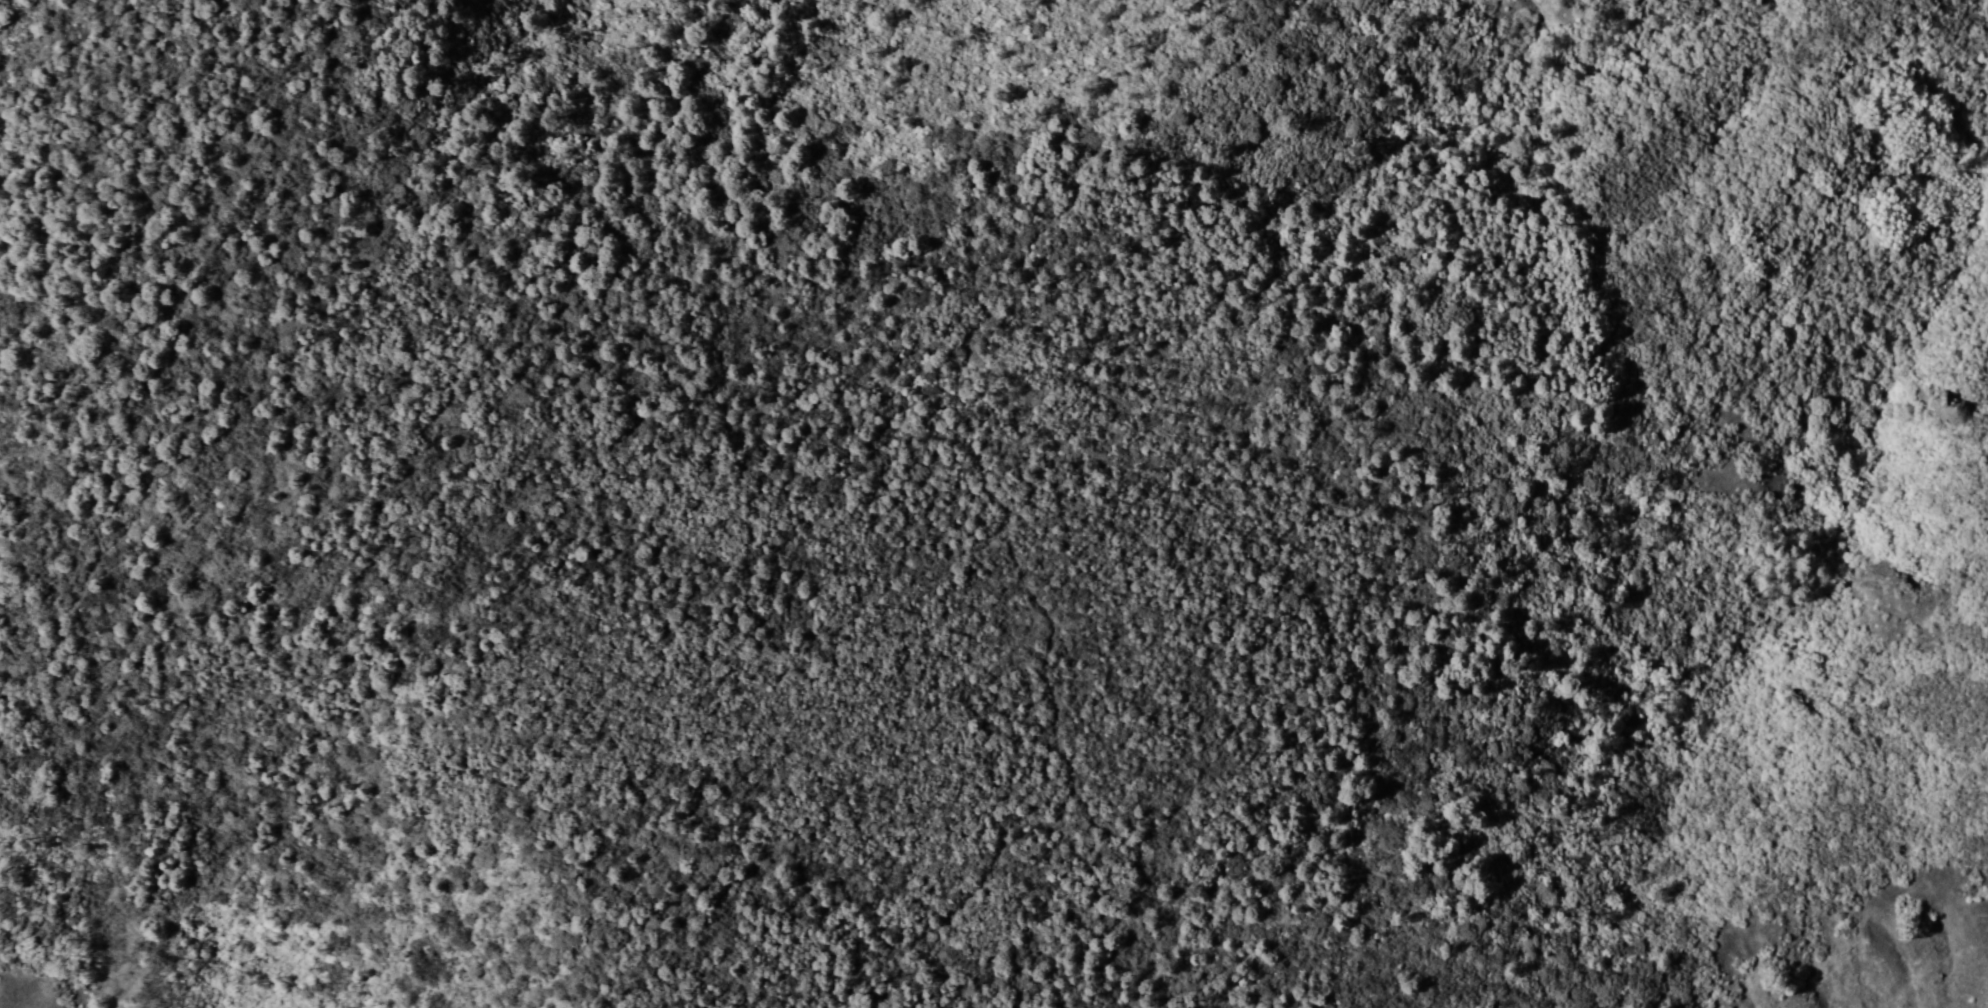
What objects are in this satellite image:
road: (1870, 863)

